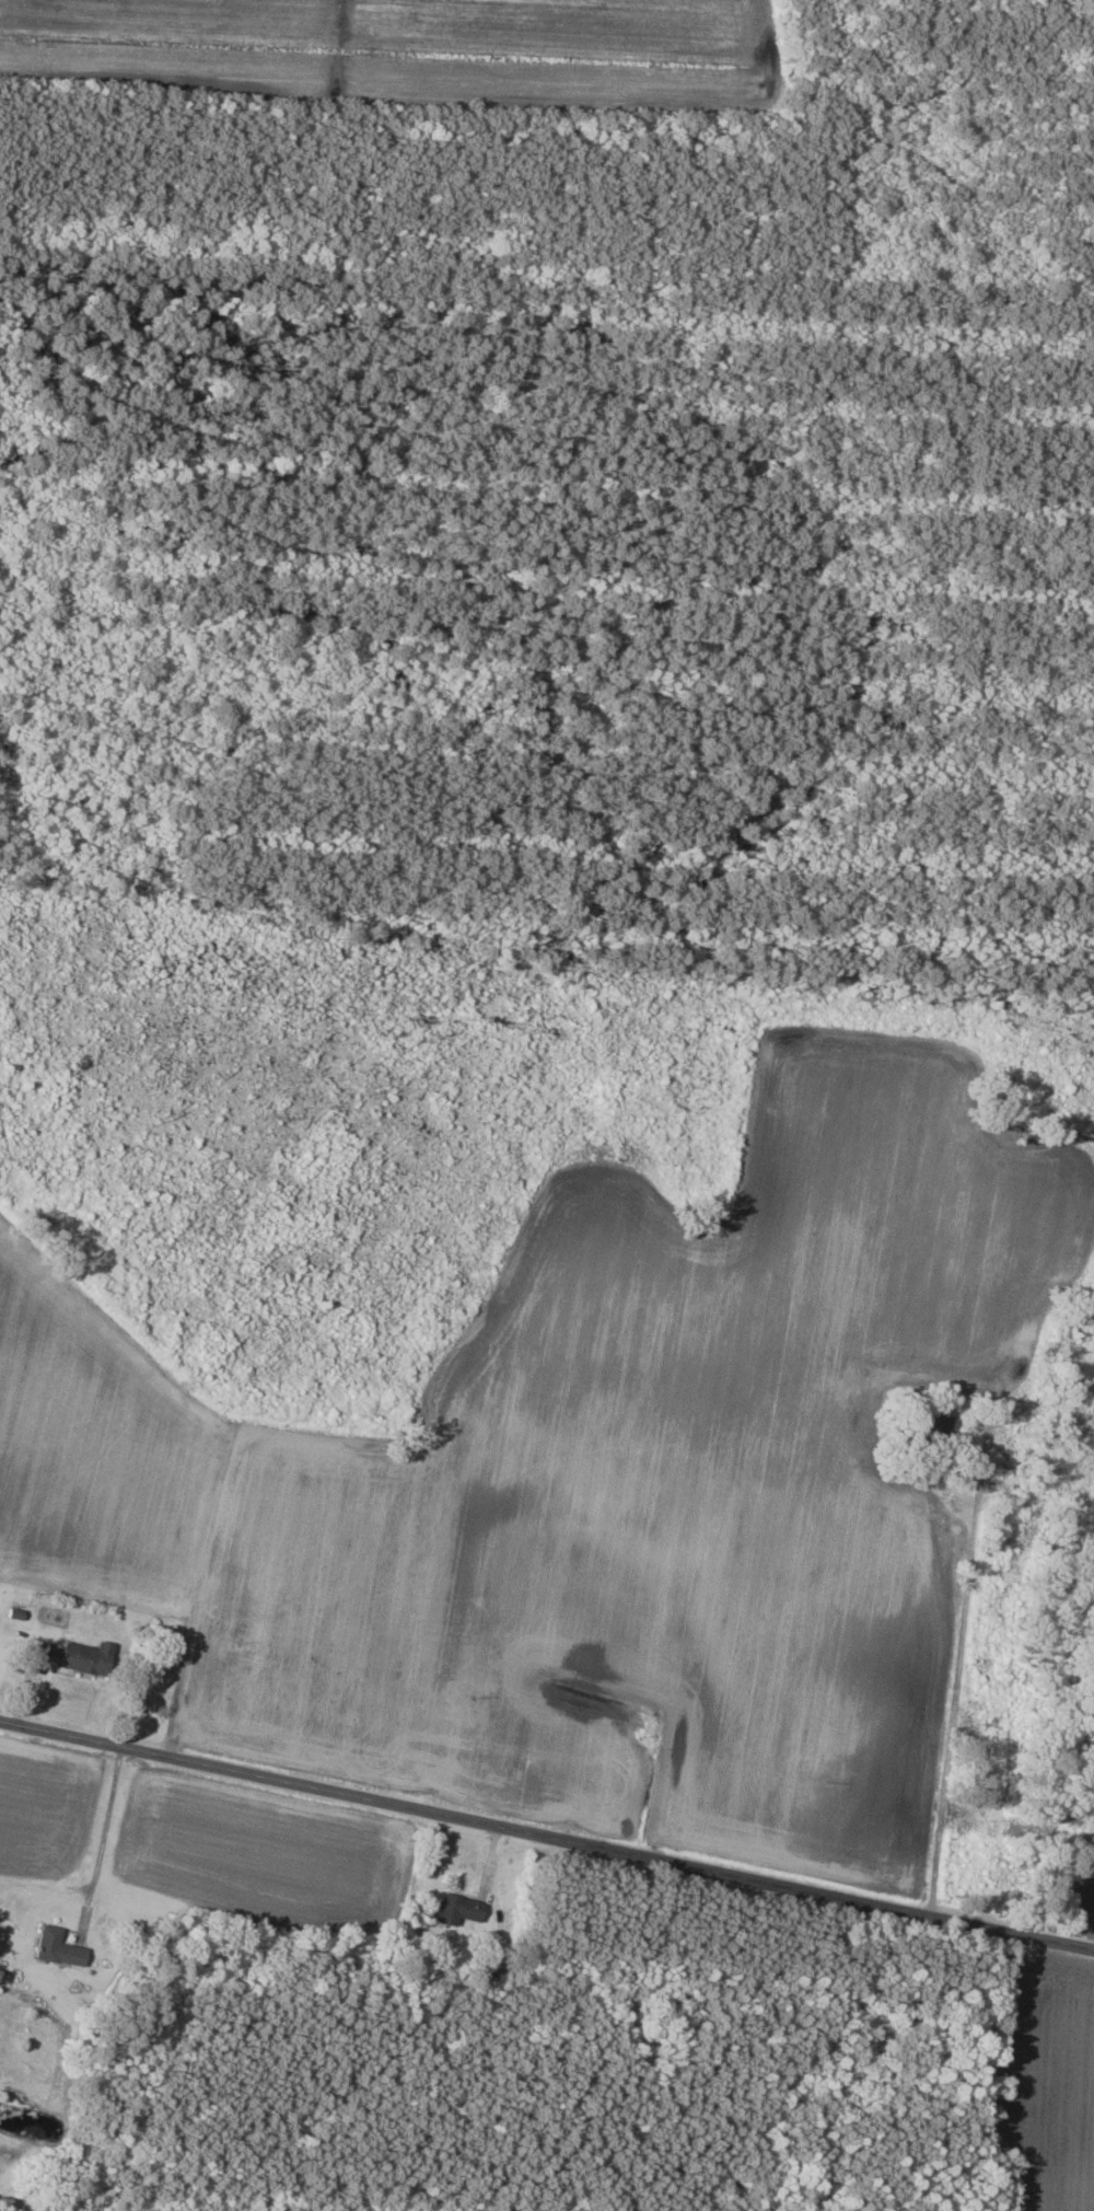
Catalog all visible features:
building: (931, 1427)
building: (75, 1657)
road: (963, 1693)
road: (106, 1827)
road: (546, 1833)
building: (456, 1909)
building: (55, 1947)

